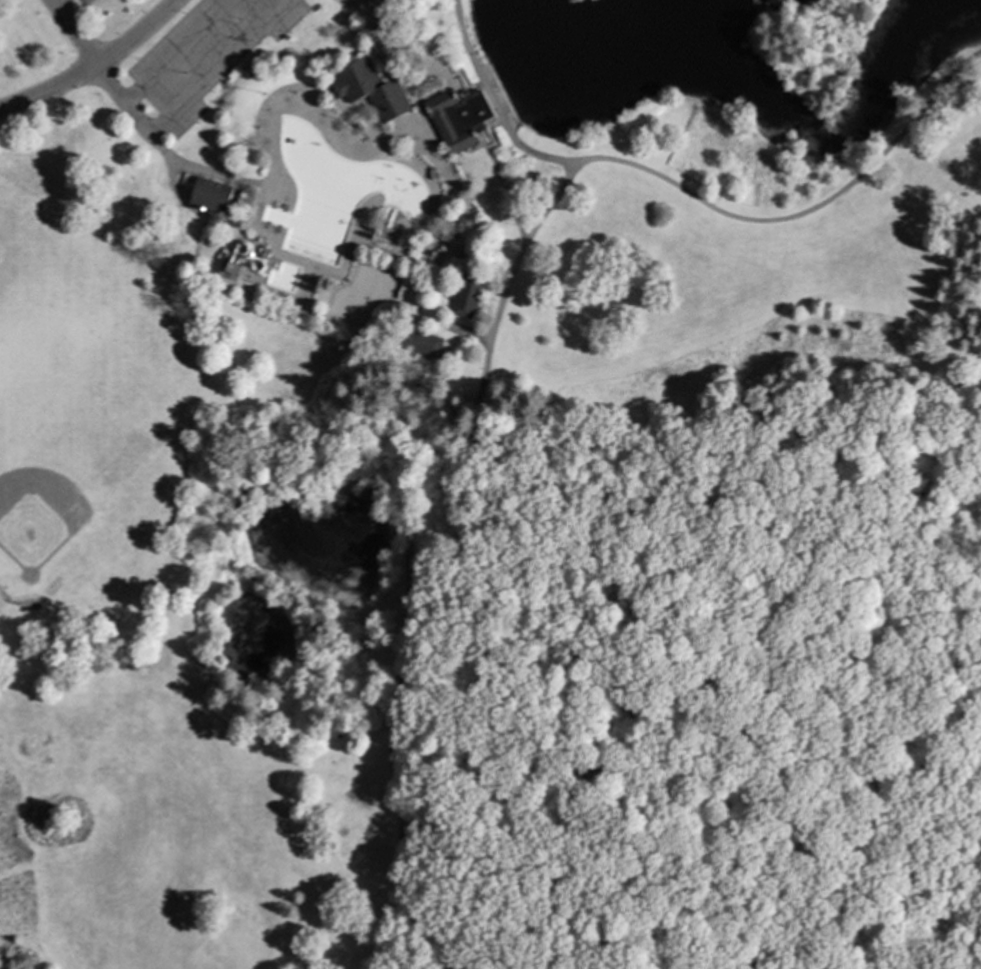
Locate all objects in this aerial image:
road: (53, 1)
road: (352, 7)
parking lot: (63, 9)
road: (74, 34)
road: (178, 51)
parking lot: (200, 60)
road: (217, 66)
road: (96, 69)
road: (405, 78)
road: (456, 78)
road: (453, 85)
building: (370, 89)
road: (414, 94)
building: (460, 120)
building: (351, 125)
road: (483, 140)
road: (479, 149)
road: (164, 150)
road: (500, 176)
road: (174, 184)
water park: (342, 187)
building: (209, 194)
road: (696, 200)
road: (435, 233)
building: (391, 235)
road: (401, 250)
building: (234, 274)
road: (430, 288)
park: (365, 295)
building: (466, 295)
road: (472, 333)
building: (419, 343)
building: (415, 378)
park: (69, 474)
park: (490, 484)
road: (410, 549)
road: (528, 572)
road: (742, 629)
road: (931, 641)
road: (879, 708)
road: (641, 717)
road: (444, 812)
road: (485, 883)
road: (891, 928)

